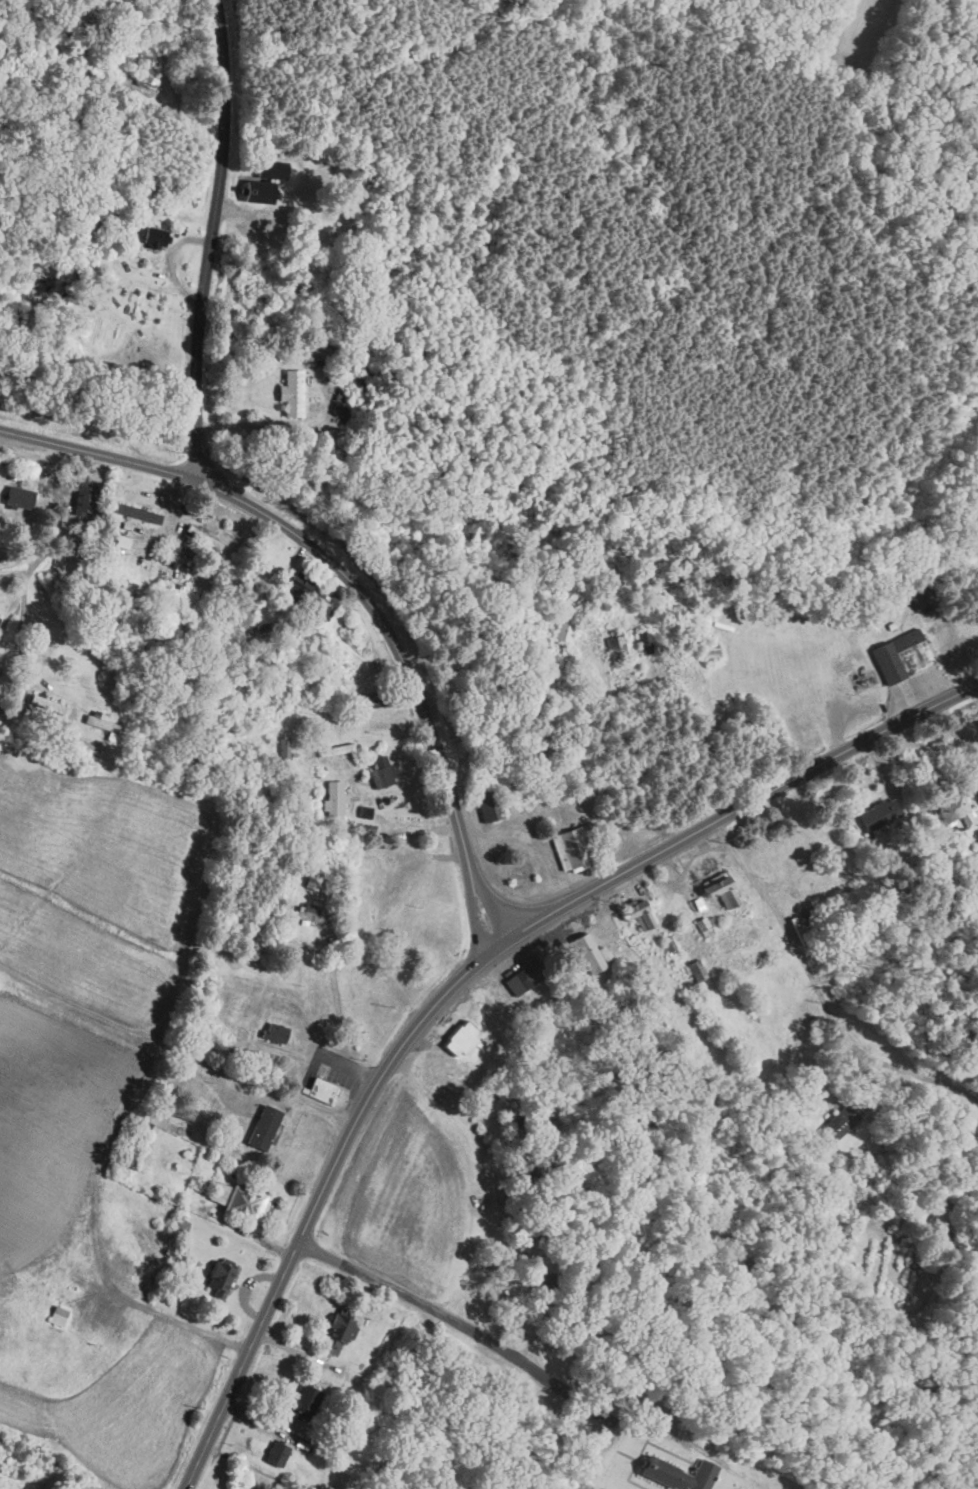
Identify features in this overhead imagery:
building: (75, 53)
building: (139, 78)
building: (272, 171)
building: (260, 194)
building: (156, 238)
road: (206, 241)
building: (251, 288)
building: (305, 358)
building: (294, 394)
building: (20, 499)
building: (85, 500)
building: (138, 514)
building: (204, 539)
road: (324, 559)
building: (297, 591)
building: (918, 600)
building: (325, 607)
building: (0, 619)
building: (564, 632)
building: (645, 644)
building: (617, 648)
building: (710, 651)
building: (903, 658)
building: (375, 700)
building: (48, 705)
road: (338, 724)
building: (102, 725)
building: (84, 751)
building: (284, 759)
building: (384, 771)
building: (334, 798)
building: (489, 803)
building: (954, 811)
building: (880, 815)
building: (573, 848)
building: (521, 870)
building: (314, 881)
building: (721, 891)
road: (491, 906)
building: (307, 915)
building: (640, 916)
road: (474, 917)
building: (586, 947)
building: (697, 972)
road: (464, 975)
building: (526, 977)
road: (819, 992)
building: (276, 1034)
building: (460, 1040)
road: (337, 1060)
parking lot: (337, 1070)
road: (332, 1083)
road: (336, 1089)
building: (320, 1090)
road: (312, 1111)
building: (184, 1113)
building: (842, 1123)
building: (265, 1129)
building: (127, 1162)
building: (237, 1201)
building: (221, 1277)
building: (543, 1282)
road: (462, 1324)
building: (338, 1336)
building: (571, 1336)
building: (305, 1404)
building: (277, 1455)
building: (681, 1475)

